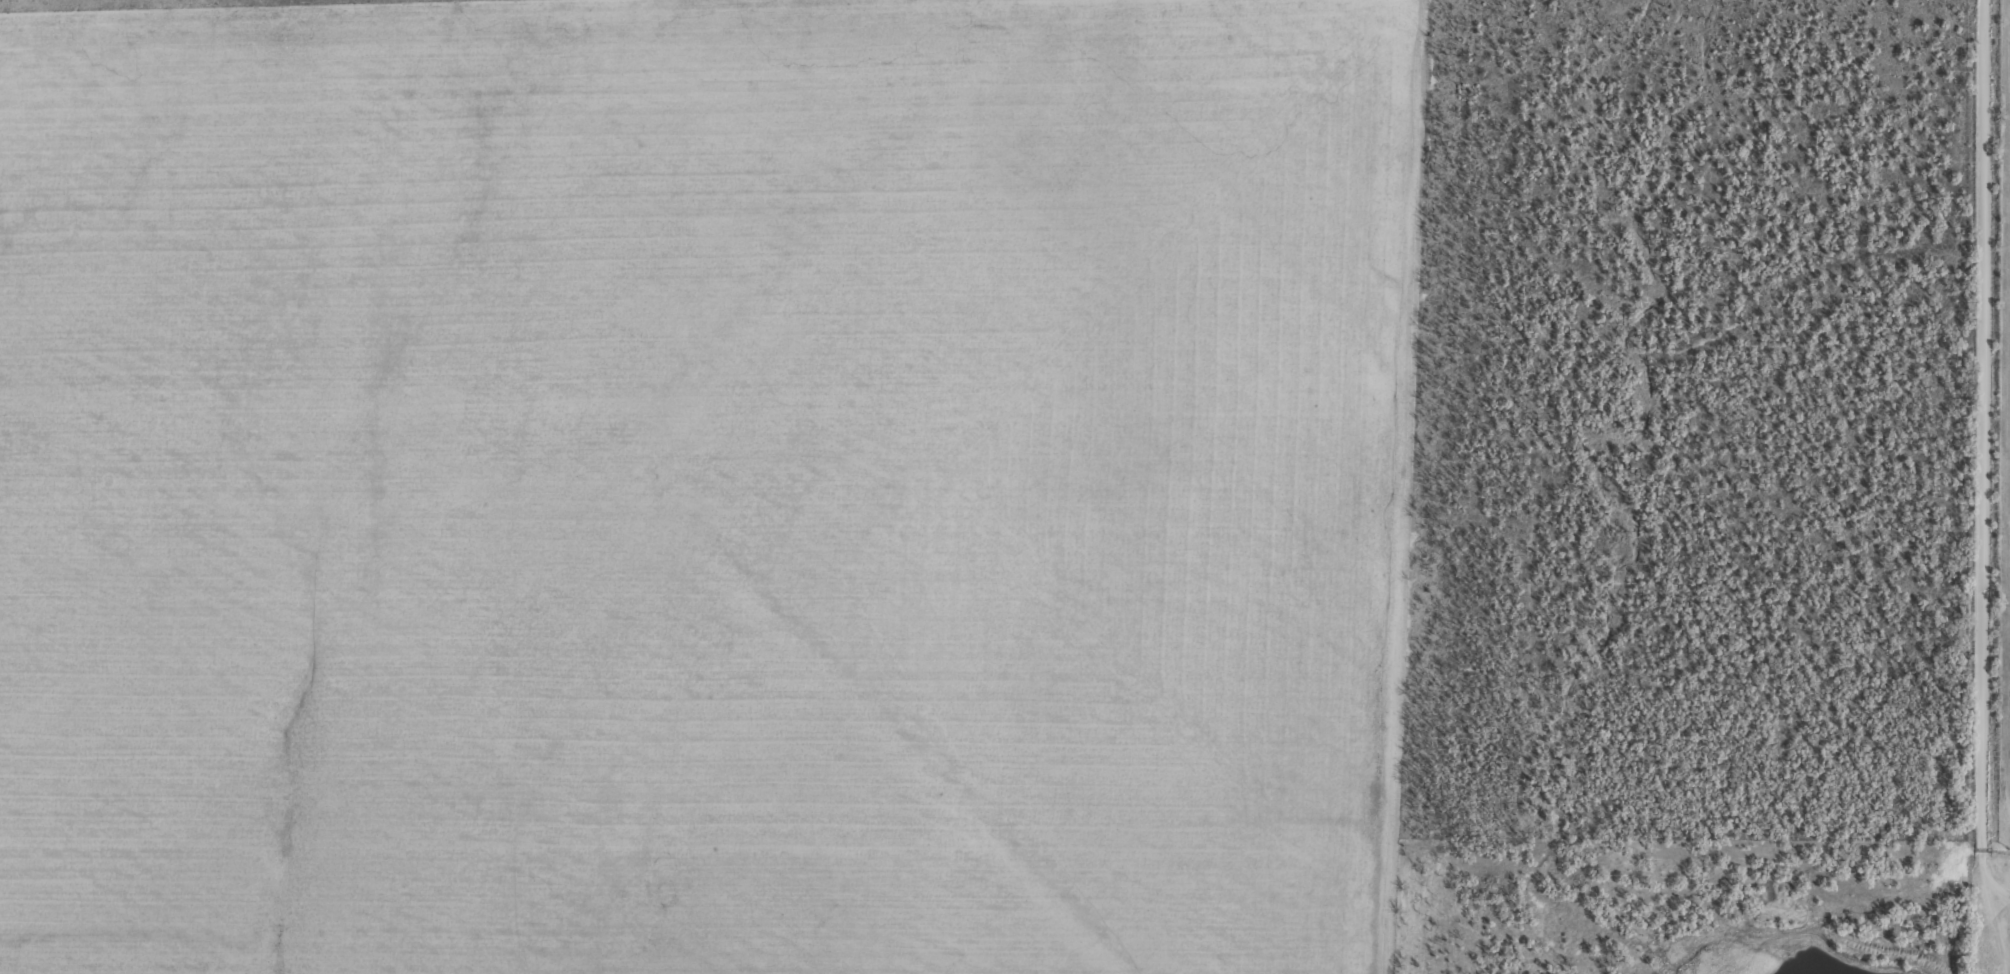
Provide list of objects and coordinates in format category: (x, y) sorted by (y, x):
road: (1981, 459)
road: (1996, 918)
road: (1981, 946)

